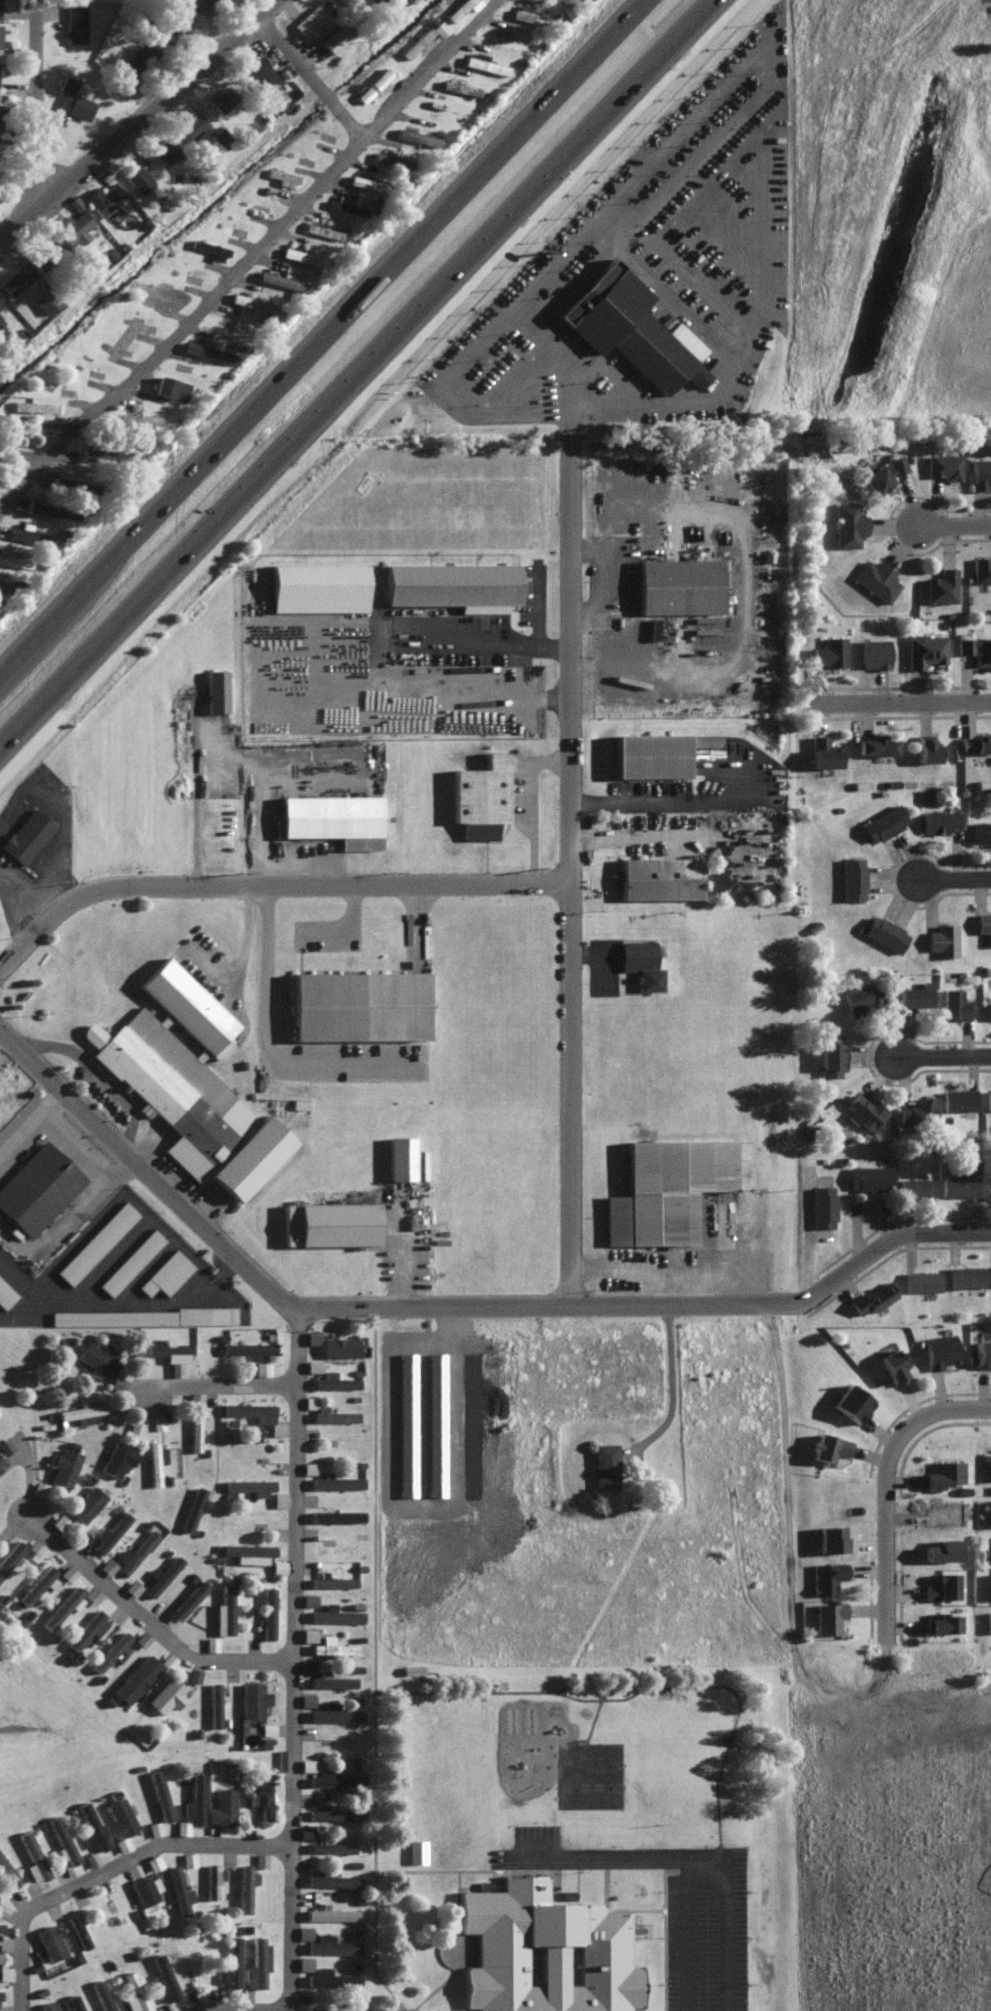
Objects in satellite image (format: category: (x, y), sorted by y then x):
building: (206, 1)
building: (458, 8)
building: (0, 9)
building: (529, 14)
building: (309, 20)
building: (74, 22)
building: (173, 23)
building: (439, 27)
building: (0, 36)
building: (334, 37)
building: (417, 42)
building: (137, 59)
building: (485, 64)
road: (425, 67)
building: (262, 75)
road: (313, 78)
road: (748, 78)
building: (374, 84)
building: (459, 86)
building: (73, 98)
building: (221, 98)
road: (46, 108)
building: (192, 124)
road: (144, 129)
building: (417, 136)
building: (164, 148)
building: (391, 159)
building: (282, 176)
building: (137, 177)
building: (365, 182)
building: (103, 196)
building: (74, 202)
building: (344, 206)
building: (72, 226)
building: (322, 229)
road: (619, 239)
building: (209, 248)
building: (301, 254)
road: (386, 269)
building: (15, 278)
building: (281, 279)
building: (160, 294)
building: (0, 300)
building: (254, 302)
building: (1, 321)
road: (183, 324)
building: (632, 328)
building: (6, 339)
road: (381, 343)
building: (209, 350)
building: (170, 387)
building: (35, 406)
road: (669, 413)
building: (139, 418)
building: (944, 465)
building: (882, 473)
building: (980, 473)
building: (73, 482)
building: (52, 508)
building: (848, 523)
road: (953, 525)
building: (32, 534)
building: (13, 558)
building: (981, 569)
building: (876, 578)
building: (453, 585)
building: (679, 585)
building: (941, 585)
building: (317, 587)
road: (63, 604)
road: (743, 625)
road: (493, 644)
building: (924, 649)
building: (976, 649)
building: (829, 651)
building: (873, 653)
building: (215, 690)
road: (906, 704)
road: (26, 715)
building: (975, 743)
building: (876, 745)
building: (926, 749)
building: (823, 752)
building: (650, 754)
road: (193, 789)
building: (480, 796)
road: (528, 800)
road: (652, 801)
building: (333, 818)
building: (939, 819)
building: (883, 822)
building: (981, 831)
building: (26, 835)
road: (619, 839)
road: (570, 863)
building: (660, 877)
building: (852, 878)
road: (953, 881)
road: (270, 882)
building: (984, 924)
building: (884, 931)
building: (942, 938)
road: (265, 961)
building: (640, 961)
building: (860, 995)
building: (915, 995)
building: (954, 1002)
building: (358, 1003)
building: (988, 1008)
building: (831, 1053)
road: (941, 1058)
road: (97, 1075)
building: (188, 1081)
building: (958, 1098)
building: (988, 1098)
building: (917, 1108)
building: (863, 1110)
building: (402, 1156)
road: (146, 1170)
building: (868, 1176)
building: (958, 1183)
building: (915, 1185)
building: (37, 1186)
building: (988, 1186)
building: (665, 1188)
building: (821, 1204)
building: (328, 1222)
building: (96, 1241)
road: (871, 1250)
road: (414, 1251)
building: (130, 1260)
road: (667, 1267)
building: (165, 1272)
building: (990, 1274)
building: (965, 1275)
building: (921, 1279)
building: (6, 1293)
building: (872, 1297)
road: (527, 1305)
building: (142, 1315)
building: (312, 1336)
building: (339, 1345)
building: (248, 1347)
building: (939, 1349)
building: (170, 1352)
building: (982, 1352)
building: (98, 1358)
building: (893, 1364)
building: (261, 1366)
building: (333, 1379)
building: (117, 1381)
road: (681, 1381)
road: (216, 1387)
building: (195, 1397)
building: (852, 1401)
building: (81, 1411)
building: (255, 1413)
building: (333, 1414)
building: (157, 1420)
building: (405, 1423)
building: (134, 1426)
building: (195, 1430)
building: (5, 1444)
building: (828, 1446)
building: (117, 1457)
building: (988, 1458)
building: (155, 1460)
building: (1, 1464)
building: (604, 1464)
building: (63, 1465)
building: (308, 1466)
building: (943, 1472)
building: (335, 1480)
building: (249, 1484)
road: (893, 1485)
building: (38, 1487)
building: (279, 1498)
building: (85, 1503)
road: (385, 1504)
building: (193, 1506)
building: (59, 1521)
building: (108, 1532)
building: (831, 1536)
building: (941, 1548)
building: (987, 1548)
building: (136, 1549)
building: (248, 1551)
road: (786, 1551)
building: (10, 1554)
building: (107, 1565)
building: (67, 1572)
building: (160, 1575)
building: (826, 1575)
building: (332, 1580)
building: (39, 1583)
building: (941, 1585)
building: (132, 1586)
building: (91, 1593)
building: (187, 1598)
building: (60, 1606)
building: (223, 1610)
building: (267, 1611)
building: (334, 1613)
building: (828, 1615)
building: (988, 1619)
building: (941, 1622)
road: (147, 1623)
building: (87, 1628)
building: (307, 1633)
building: (210, 1642)
building: (332, 1645)
building: (110, 1650)
road: (292, 1660)
building: (307, 1664)
building: (194, 1674)
building: (136, 1677)
building: (331, 1679)
road: (739, 1692)
building: (166, 1693)
road: (498, 1696)
building: (253, 1698)
building: (214, 1703)
building: (334, 1712)
building: (307, 1764)
building: (230, 1770)
building: (330, 1777)
park: (600, 1779)
building: (159, 1794)
building: (261, 1795)
building: (194, 1798)
building: (221, 1806)
building: (327, 1813)
building: (118, 1815)
road: (568, 1822)
building: (90, 1825)
building: (182, 1826)
building: (304, 1831)
building: (62, 1838)
building: (331, 1846)
building: (416, 1850)
parking lot: (540, 1853)
building: (428, 1854)
road: (384, 1855)
building: (32, 1857)
building: (91, 1858)
building: (187, 1858)
building: (260, 1858)
building: (153, 1861)
road: (633, 1862)
road: (431, 1871)
building: (7, 1872)
road: (536, 1874)
road: (114, 1876)
building: (212, 1879)
building: (331, 1879)
road: (587, 1880)
building: (244, 1885)
road: (566, 1886)
road: (616, 1887)
building: (145, 1888)
building: (179, 1891)
building: (330, 1912)
road: (658, 1915)
road: (735, 1919)
building: (77, 1930)
building: (303, 1932)
road: (697, 1936)
road: (675, 1937)
building: (4, 1940)
parking lot: (718, 1940)
building: (49, 1941)
building: (330, 1943)
road: (384, 1948)
road: (477, 1951)
building: (556, 1951)
road: (468, 1952)
building: (230, 1962)
building: (303, 1962)
building: (255, 1963)
building: (5, 1972)
building: (330, 1977)
building: (163, 1978)
building: (134, 1992)
building: (101, 1995)
building: (74, 2002)
building: (46, 2006)
building: (324, 2008)
road: (280, 2010)

